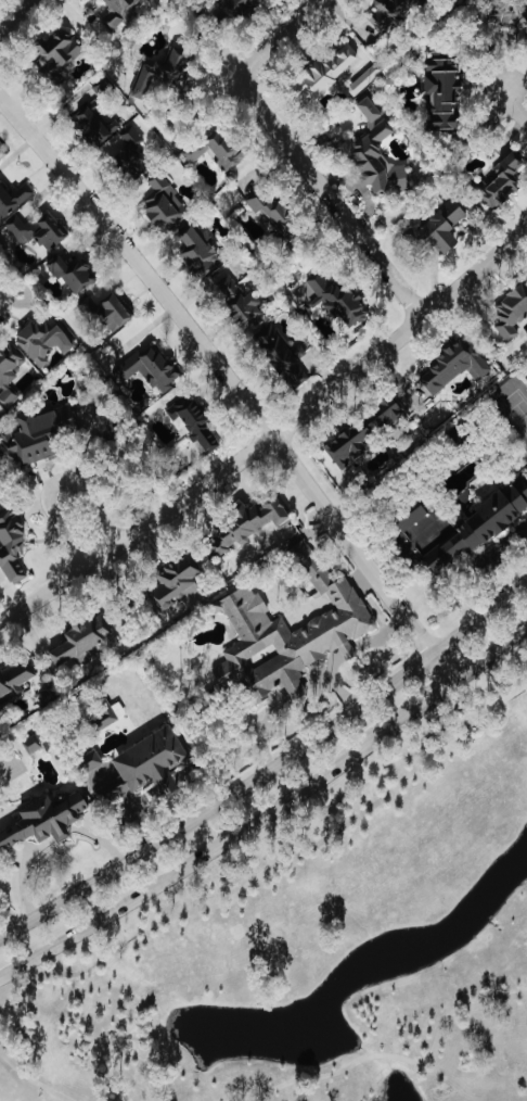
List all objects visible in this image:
building: (236, 7)
building: (121, 12)
building: (393, 13)
road: (20, 17)
building: (513, 17)
road: (283, 37)
building: (61, 52)
building: (330, 72)
building: (164, 73)
building: (367, 79)
building: (446, 90)
road: (518, 103)
building: (98, 123)
building: (219, 148)
building: (129, 149)
building: (381, 154)
building: (504, 181)
road: (336, 194)
building: (14, 197)
building: (167, 204)
building: (277, 212)
building: (444, 224)
building: (37, 230)
building: (202, 251)
building: (75, 271)
building: (242, 299)
building: (344, 302)
building: (112, 311)
building: (511, 313)
building: (44, 341)
building: (282, 353)
building: (457, 366)
building: (152, 367)
building: (10, 372)
road: (234, 381)
building: (196, 420)
building: (41, 433)
building: (365, 433)
road: (271, 438)
road: (99, 508)
building: (250, 522)
building: (14, 543)
road: (485, 558)
building: (179, 582)
building: (287, 632)
building: (83, 641)
road: (489, 654)
building: (15, 682)
road: (426, 701)
building: (0, 716)
building: (33, 744)
building: (94, 760)
building: (151, 765)
road: (270, 770)
building: (47, 821)
road: (202, 835)
road: (204, 853)
road: (278, 864)
road: (9, 915)
road: (395, 1058)
road: (33, 1078)

